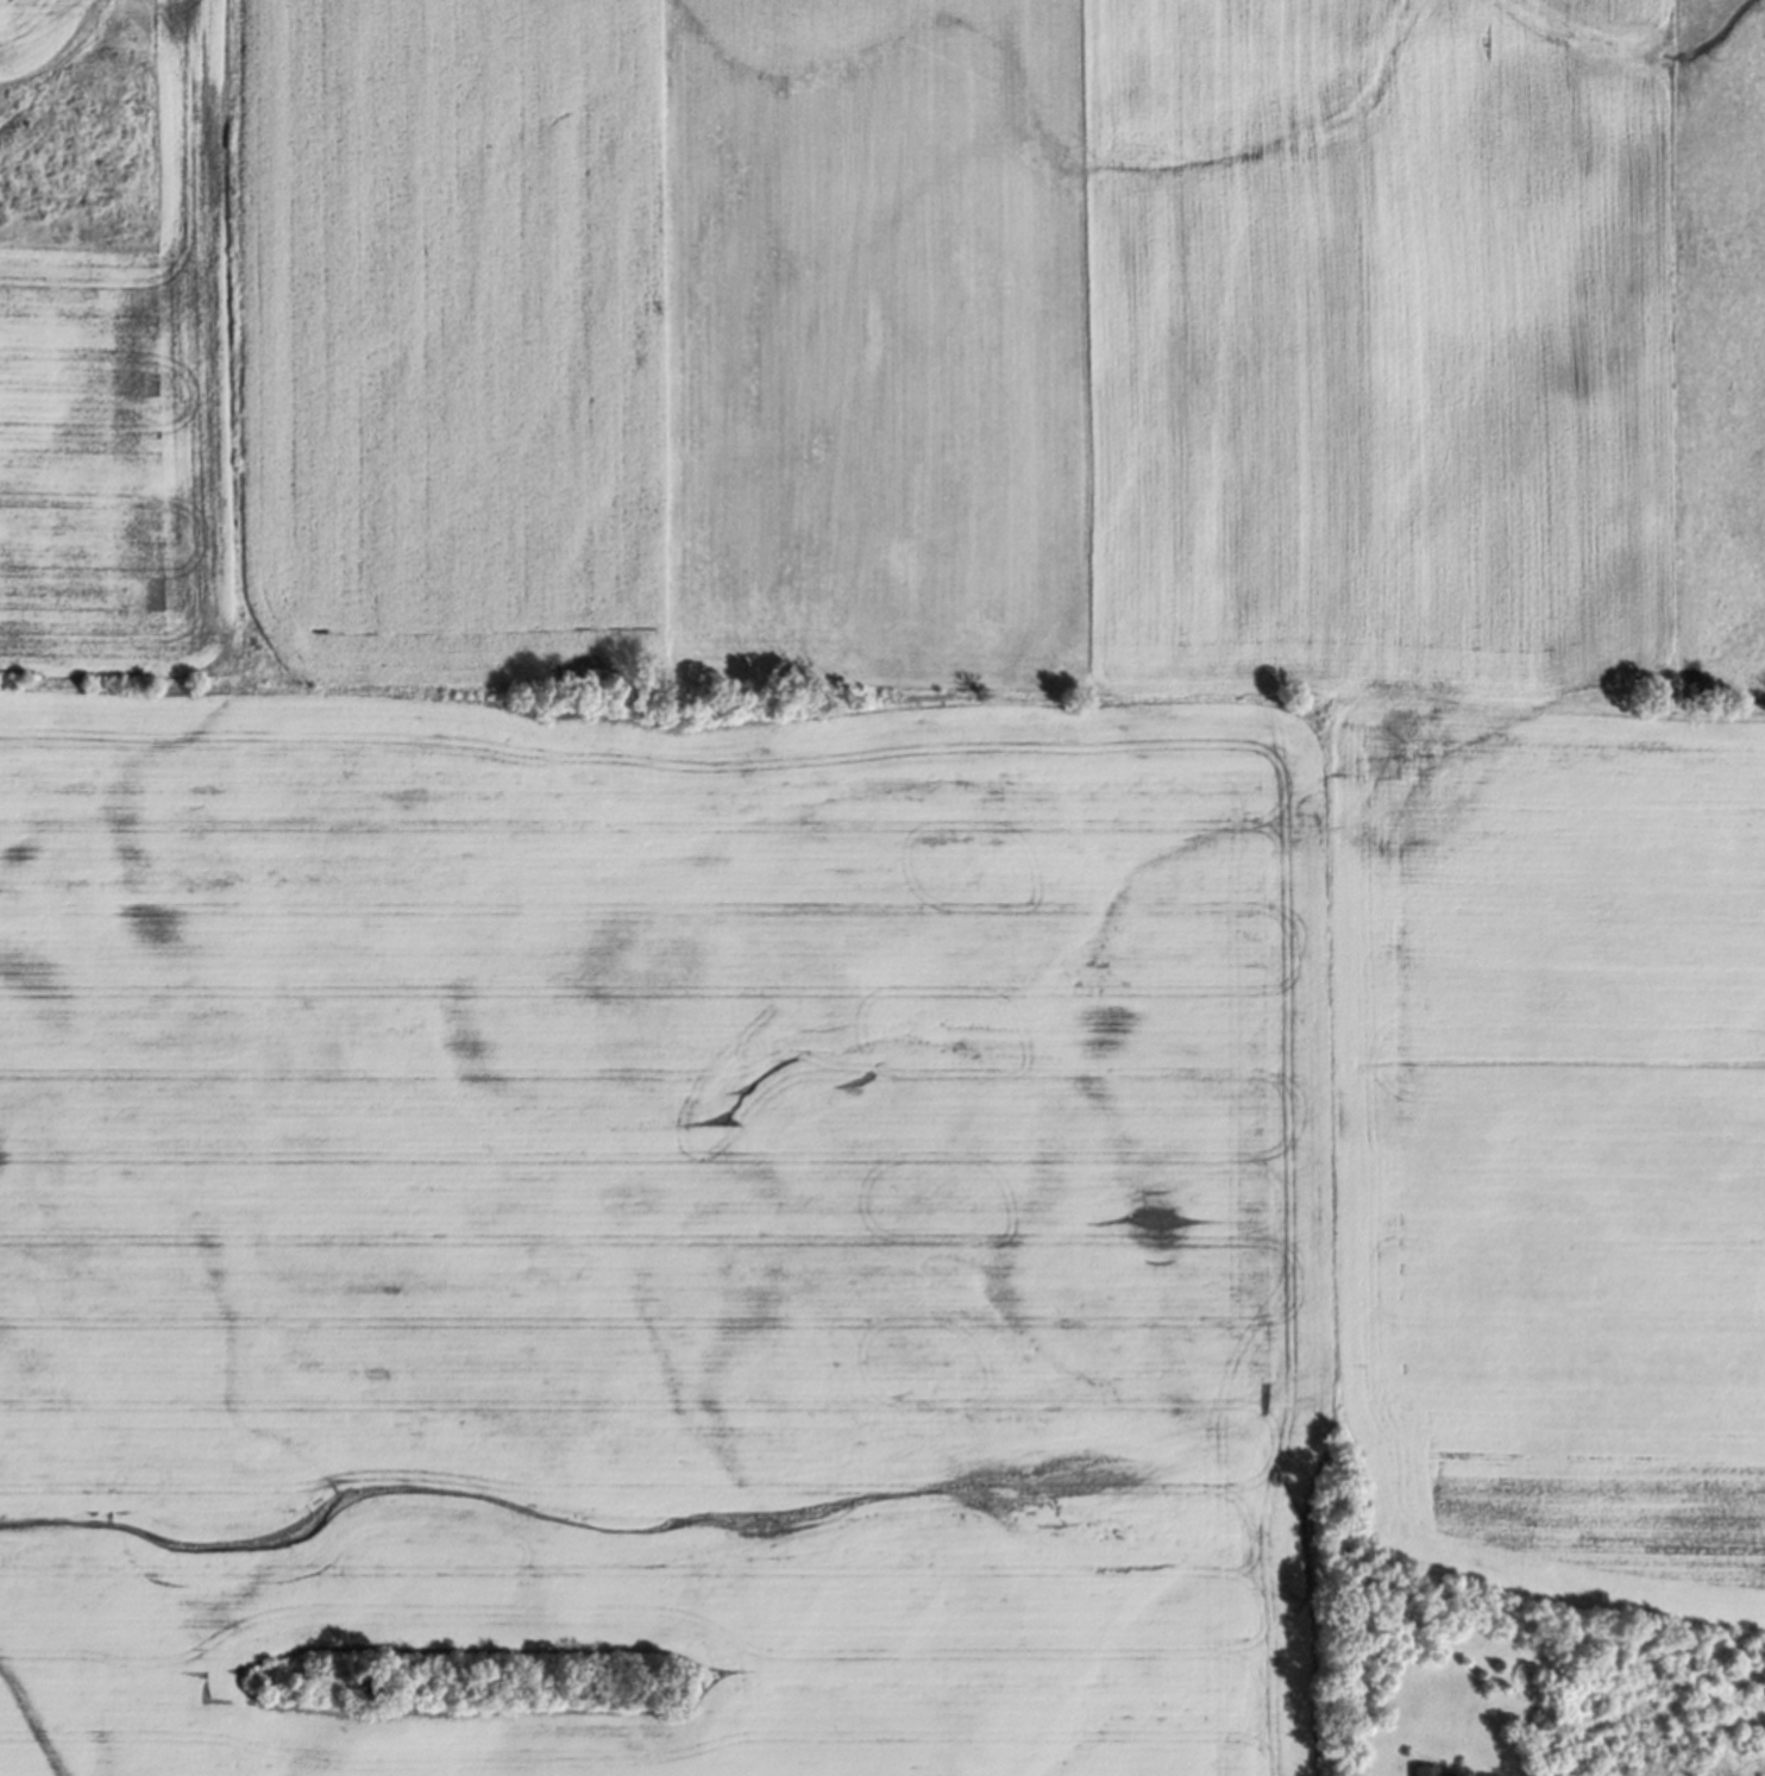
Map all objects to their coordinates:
building: (1424, 1770)

